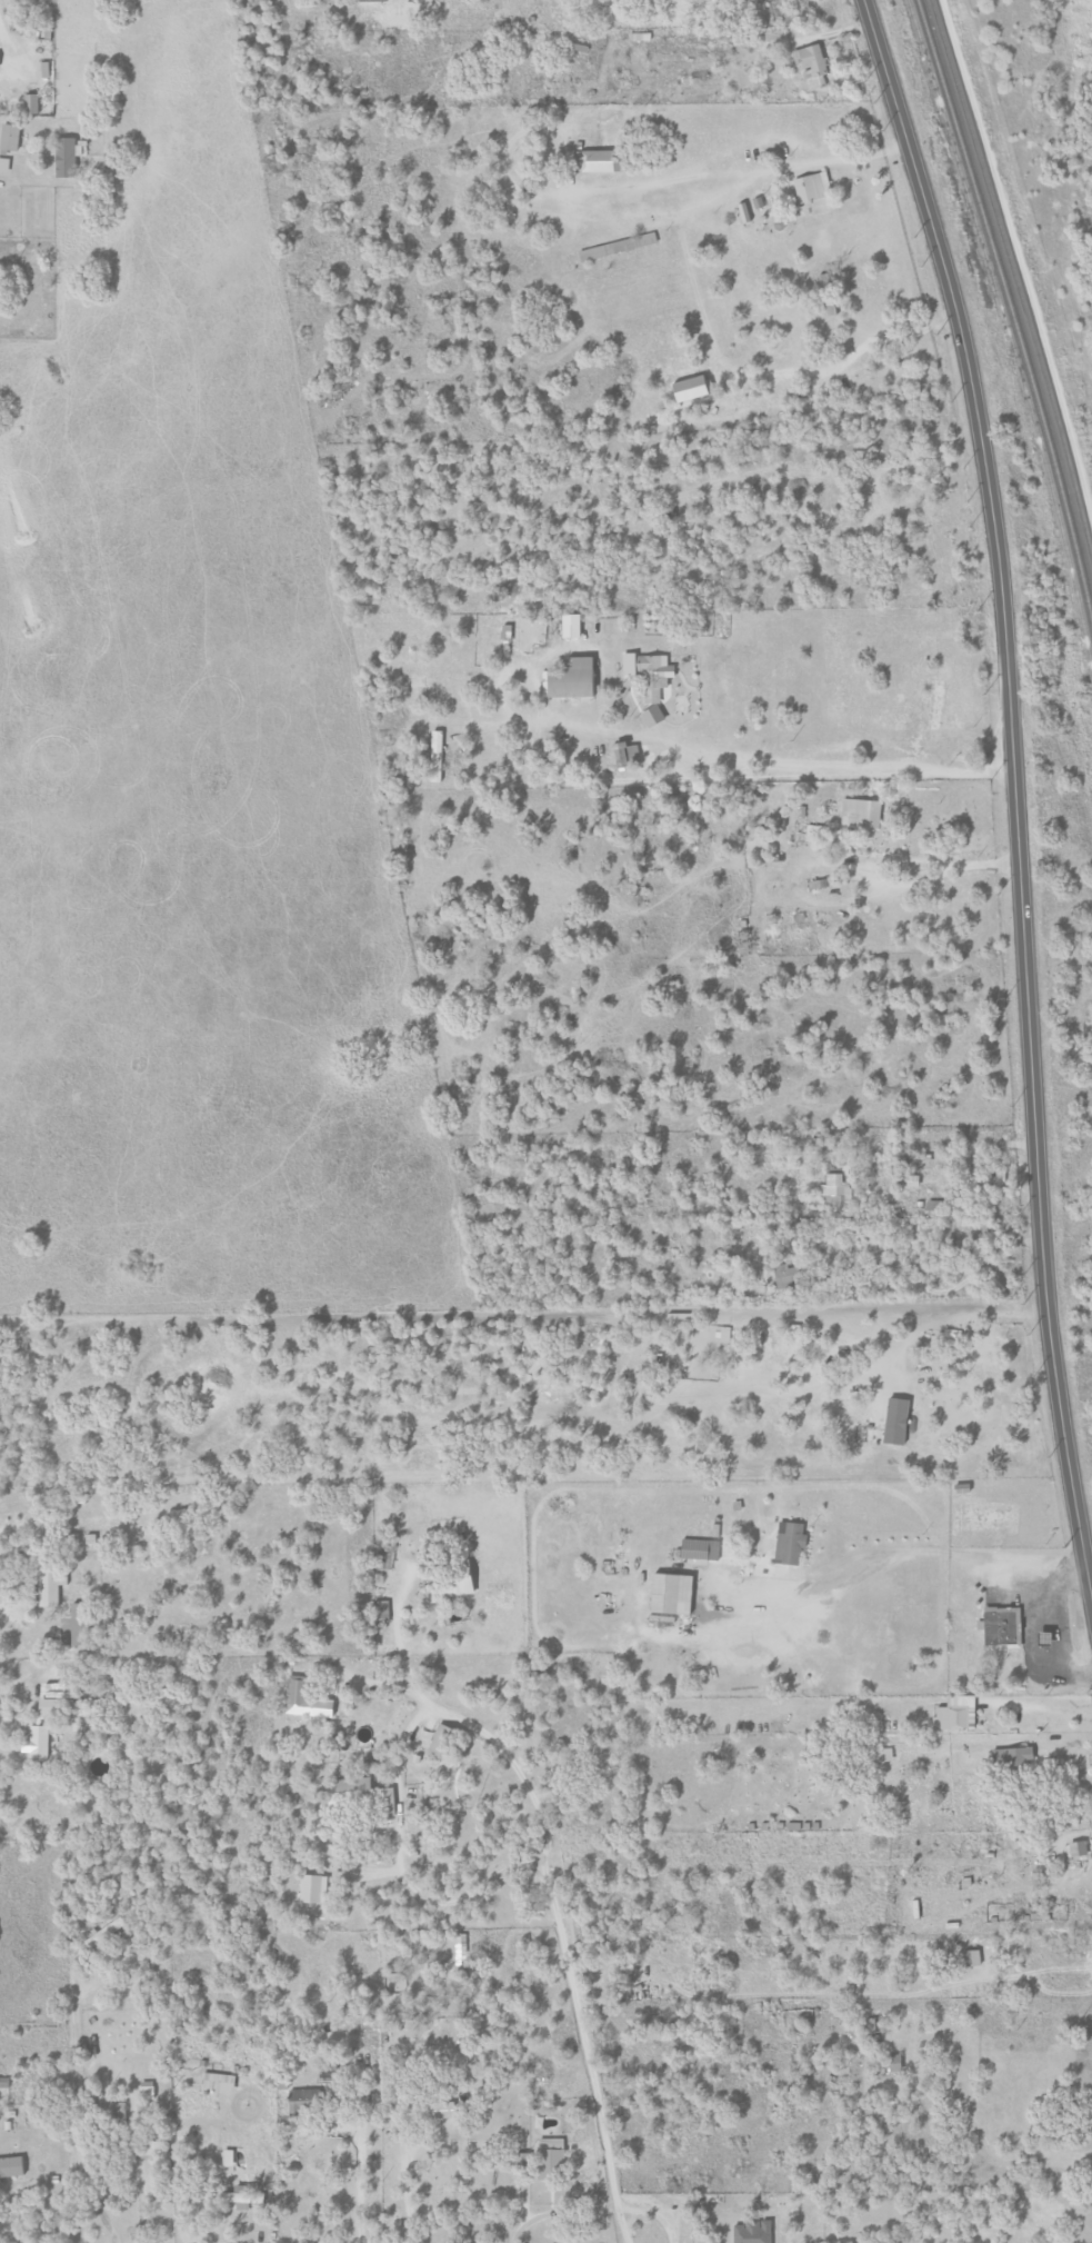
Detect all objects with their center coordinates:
road: (1, 56)
building: (0, 60)
building: (811, 63)
building: (33, 103)
building: (11, 138)
quarry: (1048, 140)
building: (592, 160)
building: (6, 165)
road: (739, 185)
building: (810, 187)
building: (617, 246)
railway: (1009, 318)
railway: (1006, 340)
building: (688, 388)
building: (569, 626)
building: (511, 635)
building: (568, 678)
building: (651, 684)
building: (433, 756)
road: (561, 781)
road: (1015, 791)
building: (860, 813)
road: (970, 1149)
building: (835, 1189)
building: (785, 1275)
road: (958, 1285)
building: (893, 1420)
building: (788, 1544)
building: (698, 1548)
road: (896, 1551)
building: (455, 1585)
building: (668, 1593)
building: (380, 1609)
building: (78, 1625)
building: (1000, 1626)
building: (303, 1701)
building: (51, 1704)
road: (1039, 1707)
building: (953, 1713)
building: (38, 1742)
building: (442, 1743)
building: (882, 1755)
building: (1013, 1758)
building: (347, 1790)
building: (384, 1801)
building: (1076, 1847)
road: (399, 1862)
road: (547, 1877)
building: (311, 1888)
building: (102, 1933)
building: (460, 1948)
road: (1052, 1993)
road: (866, 1995)
building: (217, 2081)
building: (2, 2082)
building: (147, 2090)
building: (300, 2096)
road: (77, 2099)
building: (116, 2110)
road: (990, 2149)
building: (226, 2156)
building: (550, 2159)
building: (10, 2165)
road: (359, 2185)
building: (239, 2196)
road: (140, 2209)
road: (559, 2211)
road: (653, 2214)
building: (751, 2232)

